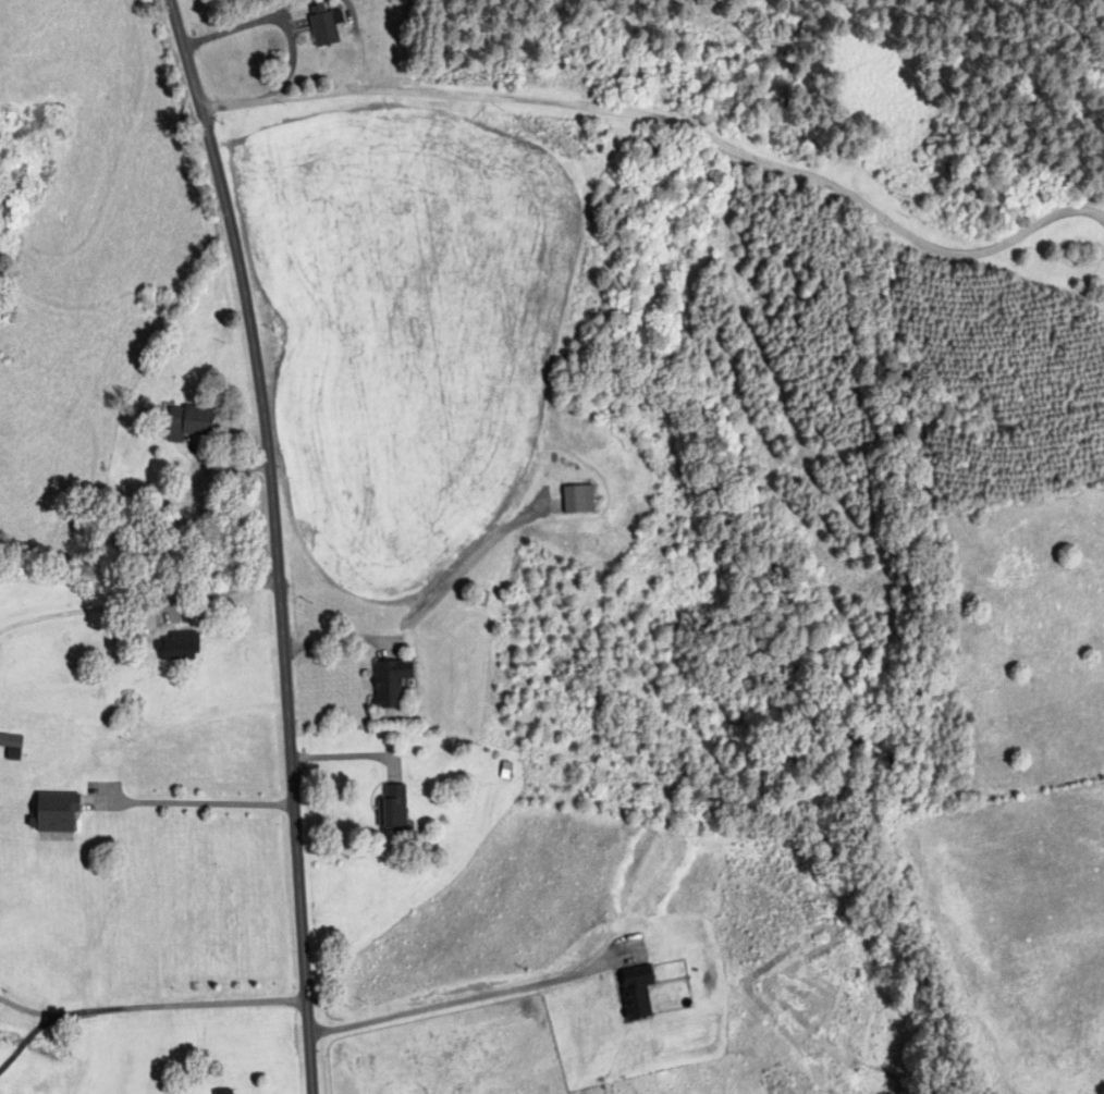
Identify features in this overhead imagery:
road: (275, 17)
building: (324, 26)
road: (674, 121)
building: (597, 137)
building: (650, 146)
building: (12, 316)
building: (188, 423)
building: (577, 500)
road: (278, 541)
road: (228, 590)
road: (339, 639)
building: (179, 648)
building: (390, 684)
building: (11, 754)
building: (504, 774)
road: (195, 801)
building: (393, 809)
building: (56, 813)
road: (464, 999)
road: (151, 1006)
road: (26, 1038)
building: (224, 1093)

